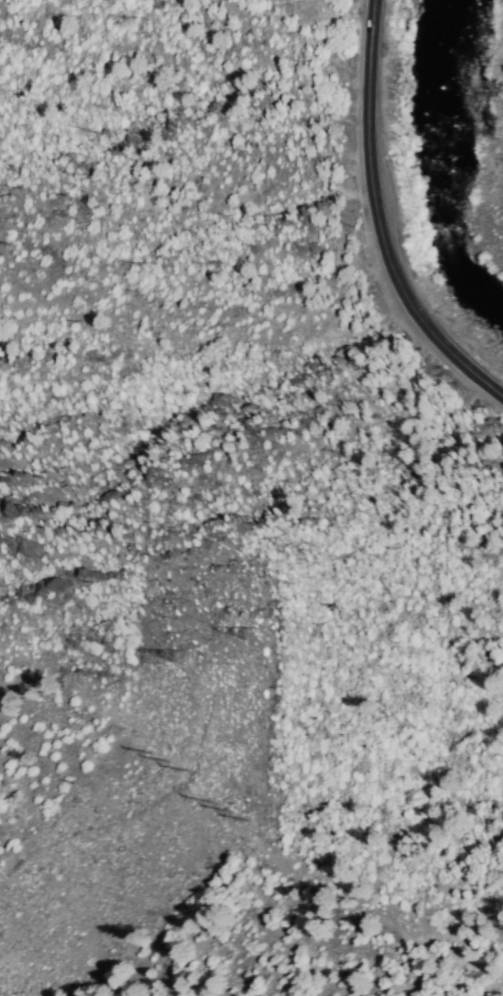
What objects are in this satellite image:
river: (445, 139)
road: (379, 219)
river: (483, 293)
power tower: (253, 633)
power tower: (181, 657)
power tower: (167, 760)
power tower: (228, 810)

